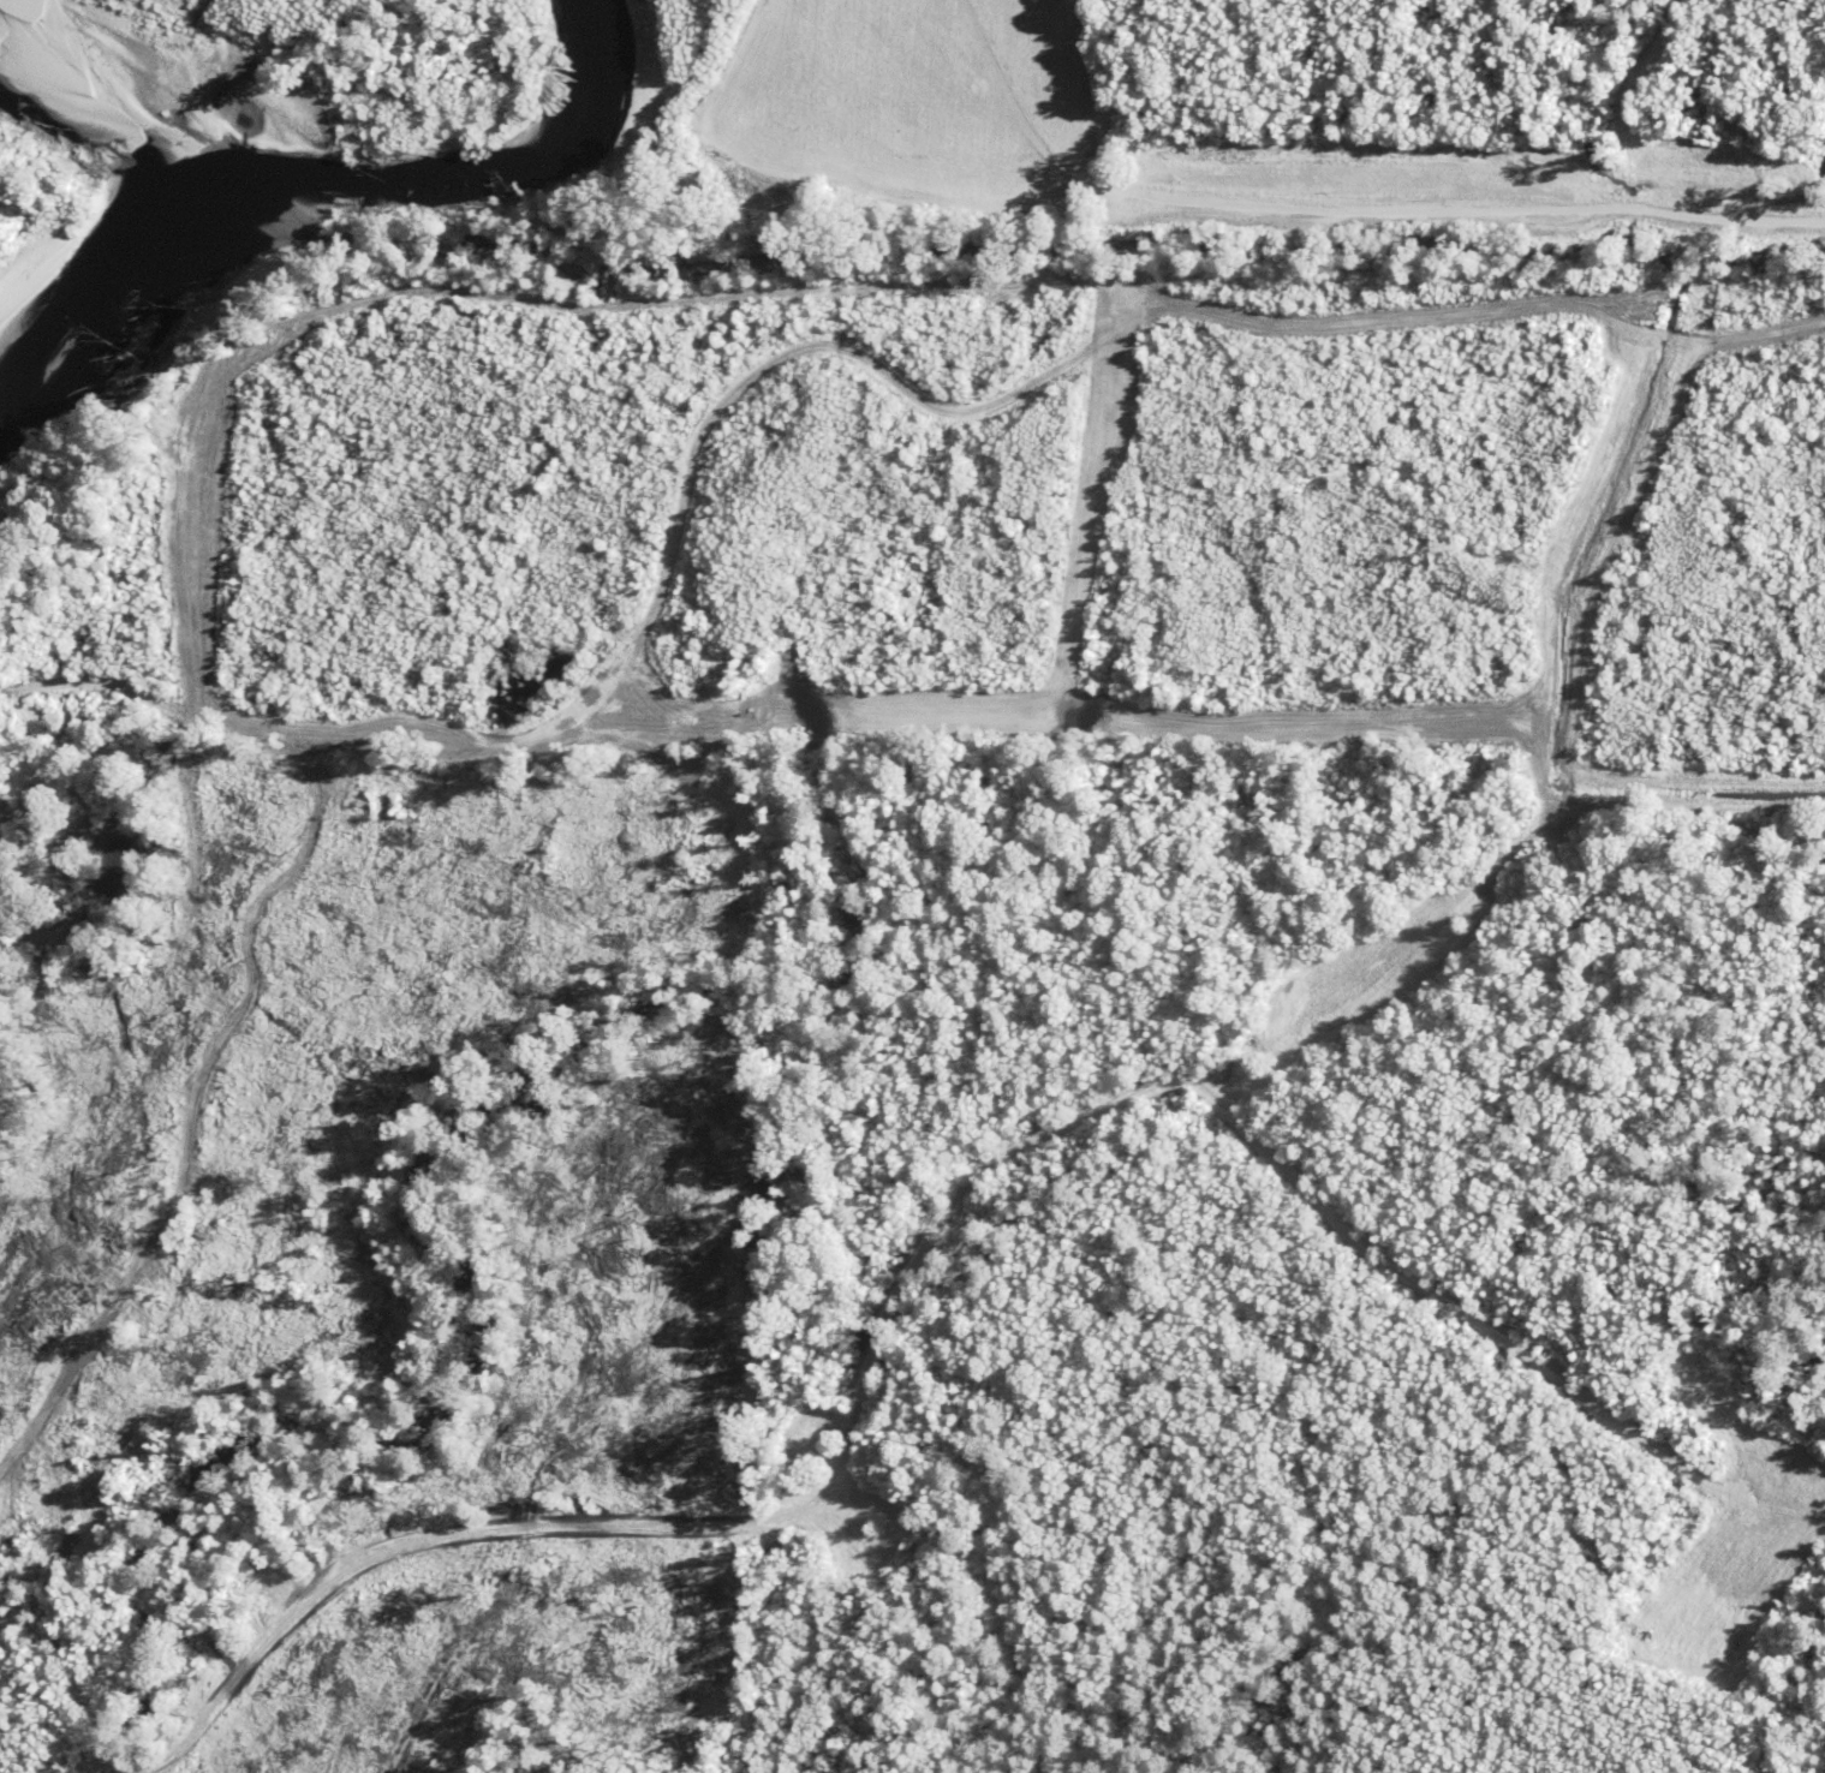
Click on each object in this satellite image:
river: (255, 150)

